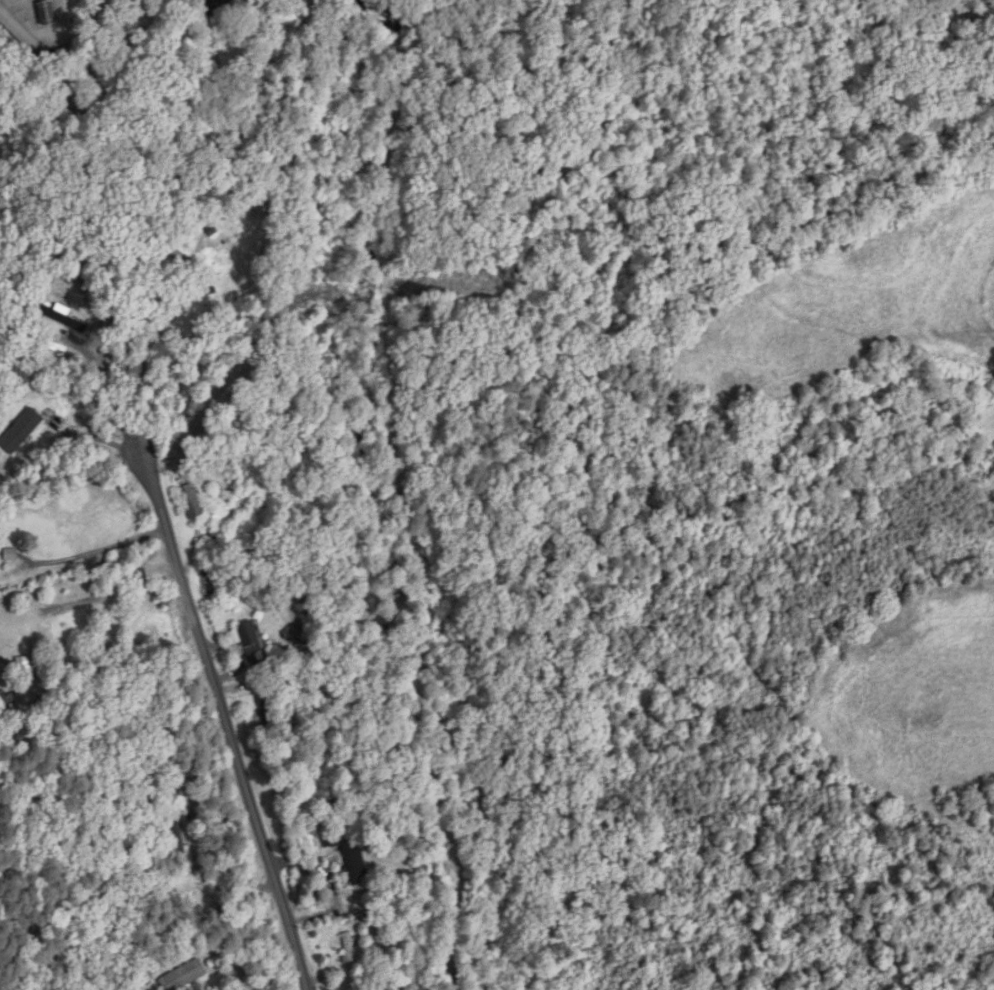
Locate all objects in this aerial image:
building: (188, 267)
road: (110, 396)
road: (98, 438)
building: (194, 504)
road: (98, 550)
building: (252, 642)
building: (25, 663)
road: (220, 703)
building: (179, 841)
building: (350, 949)
building: (184, 975)

